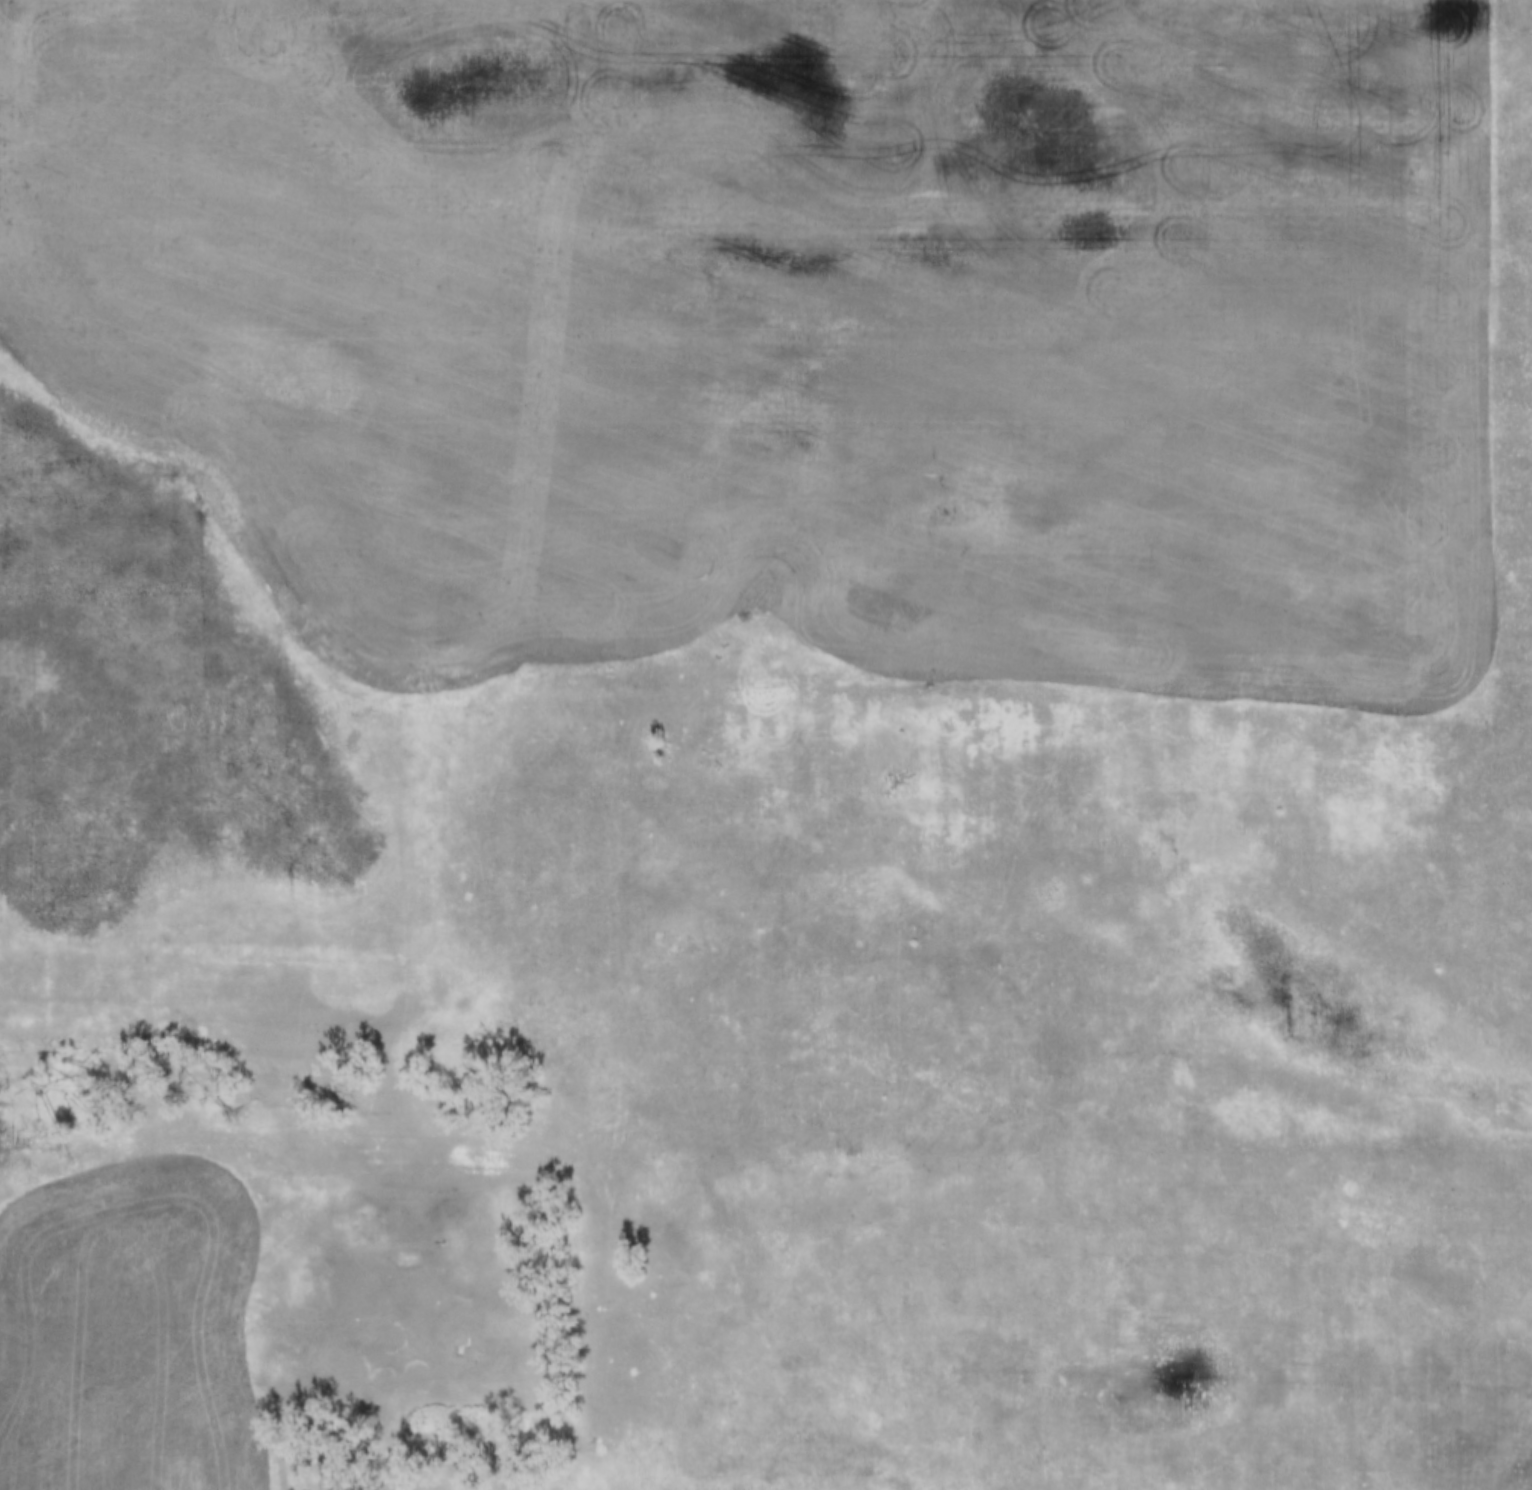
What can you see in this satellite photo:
road: (350, 1391)

